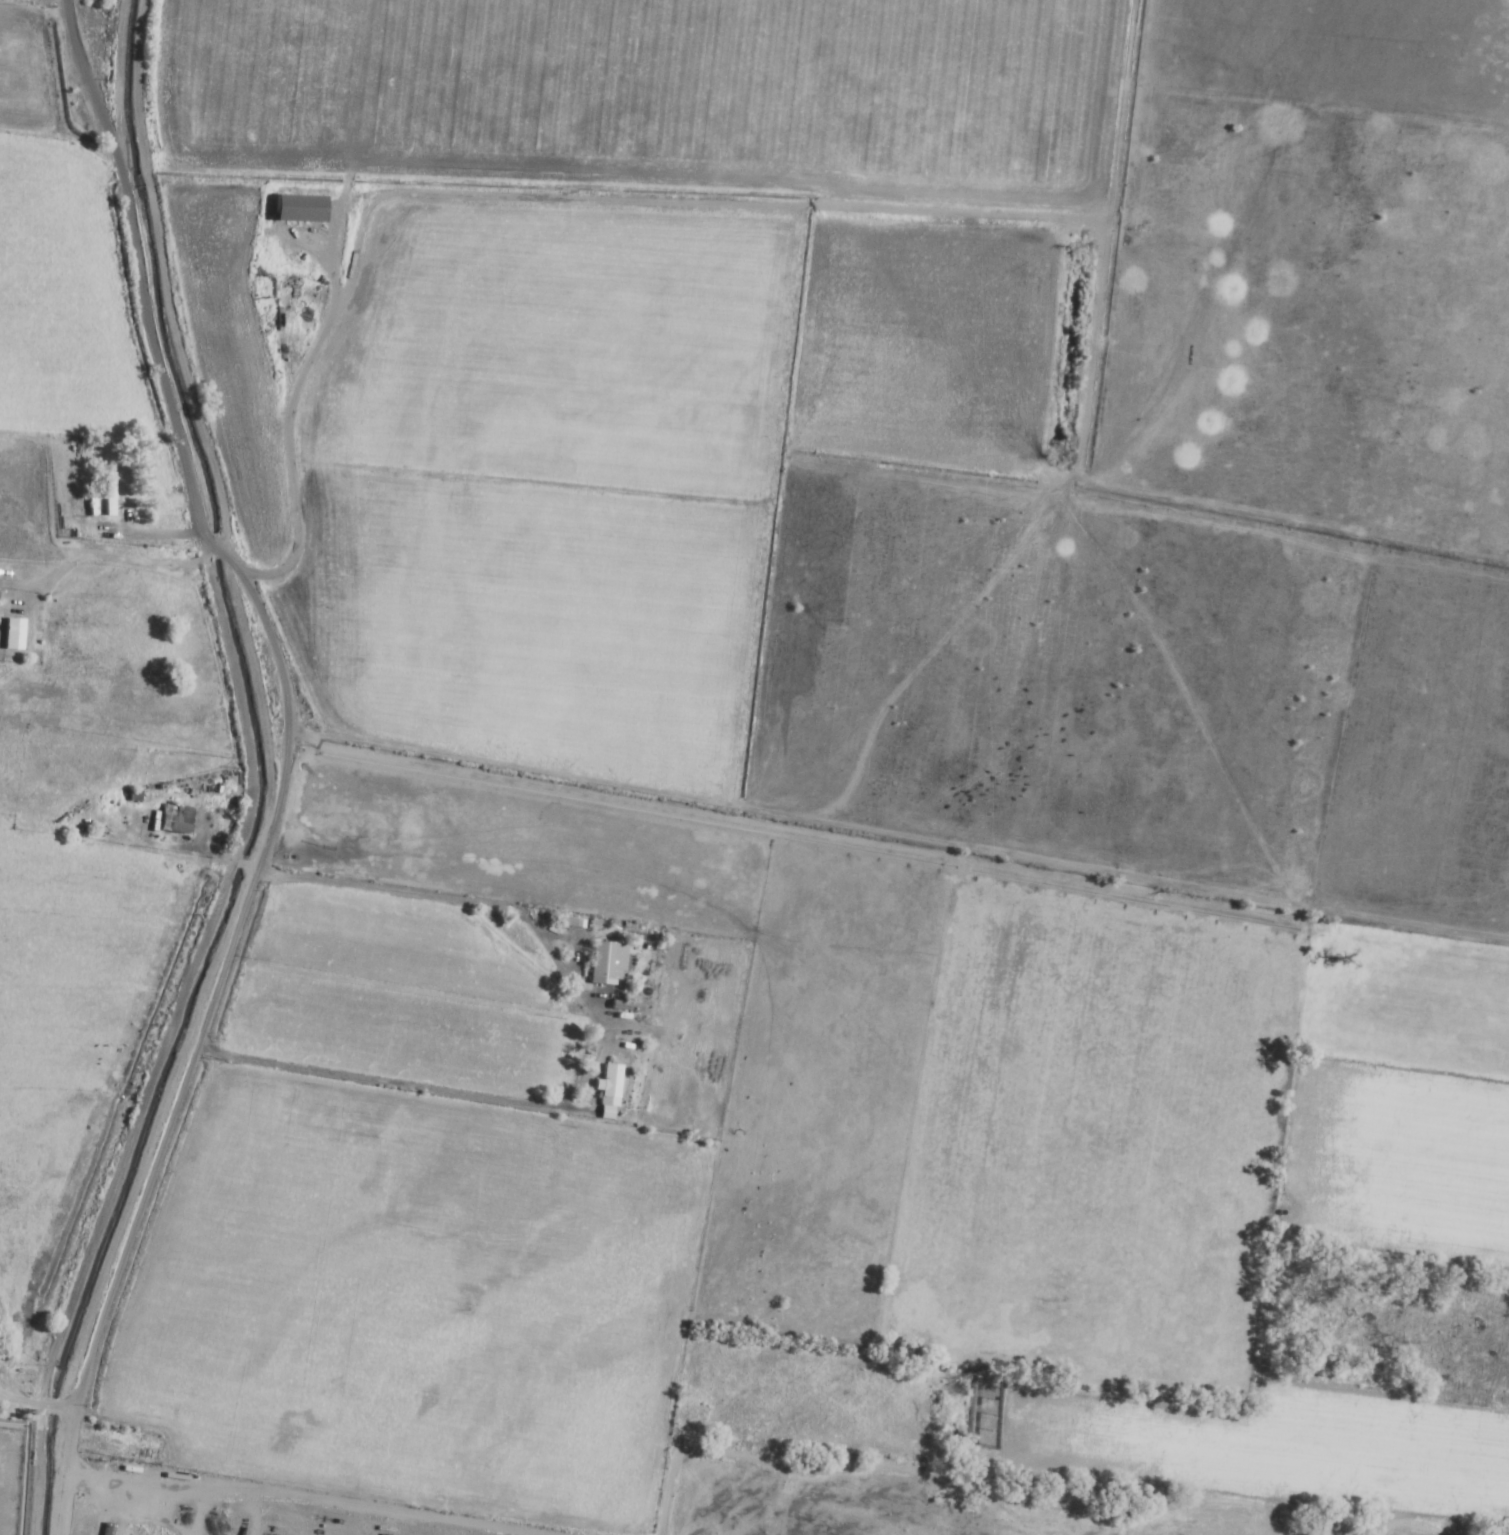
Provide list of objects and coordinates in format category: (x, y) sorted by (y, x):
building: (295, 209)
building: (10, 635)
road: (277, 762)
building: (173, 820)
road: (894, 836)
building: (604, 963)
building: (606, 1085)

